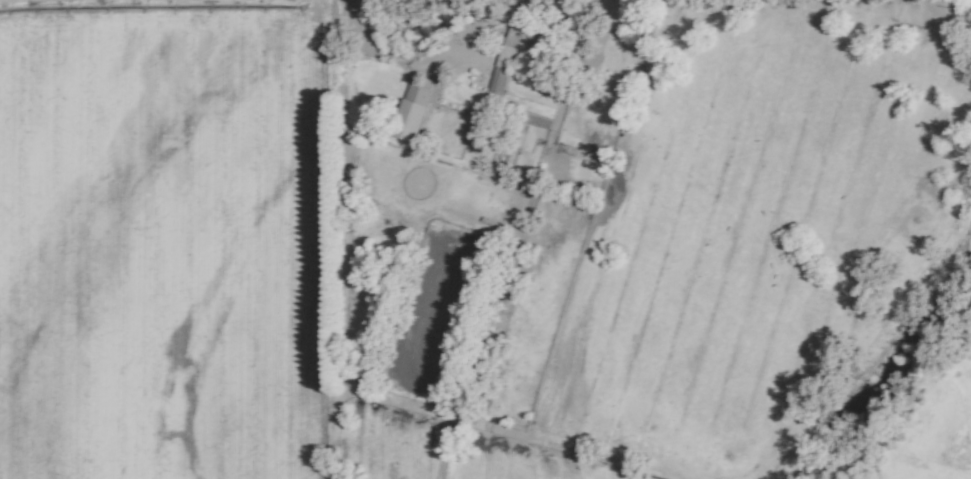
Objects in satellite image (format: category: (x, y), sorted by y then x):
building: (522, 41)
building: (497, 80)
building: (527, 136)

